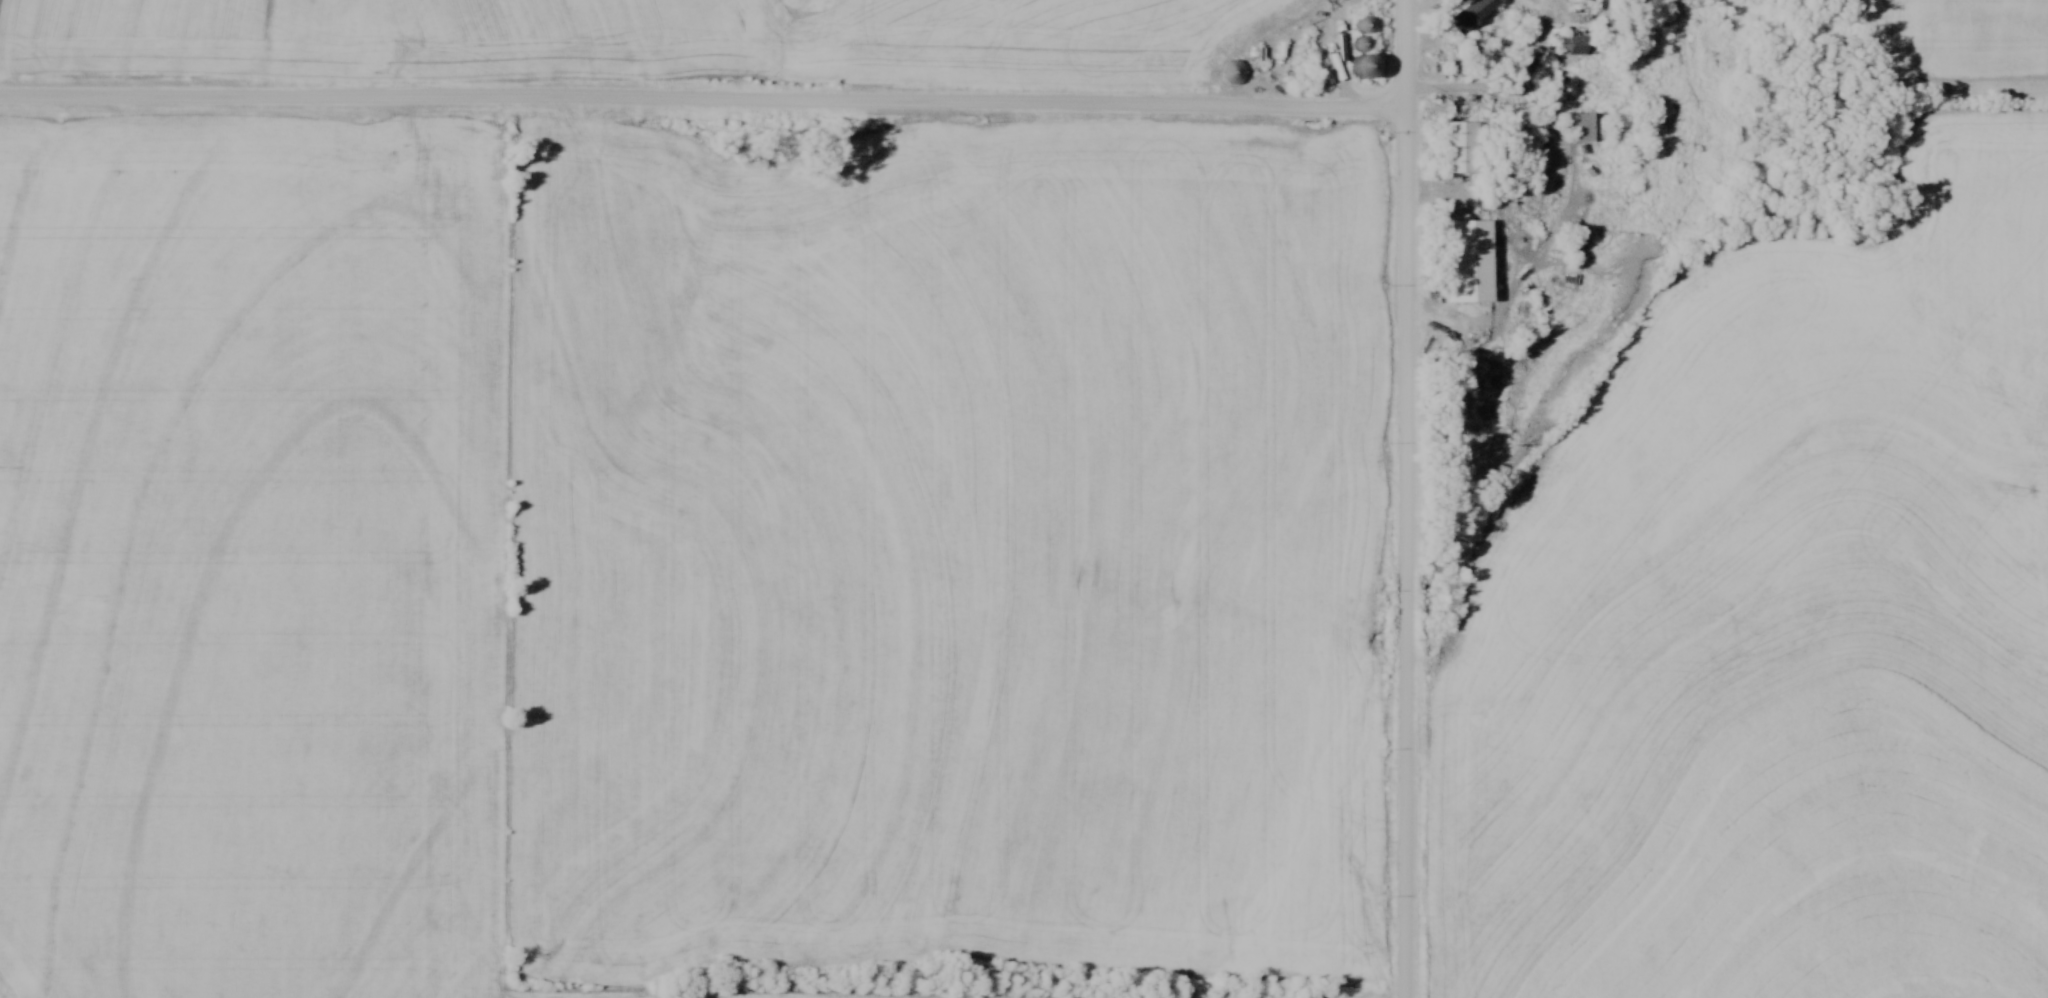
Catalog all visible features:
building: (1469, 18)
building: (1576, 46)
road: (1488, 96)
road: (704, 102)
building: (1586, 127)
building: (1462, 147)
road: (1405, 498)

